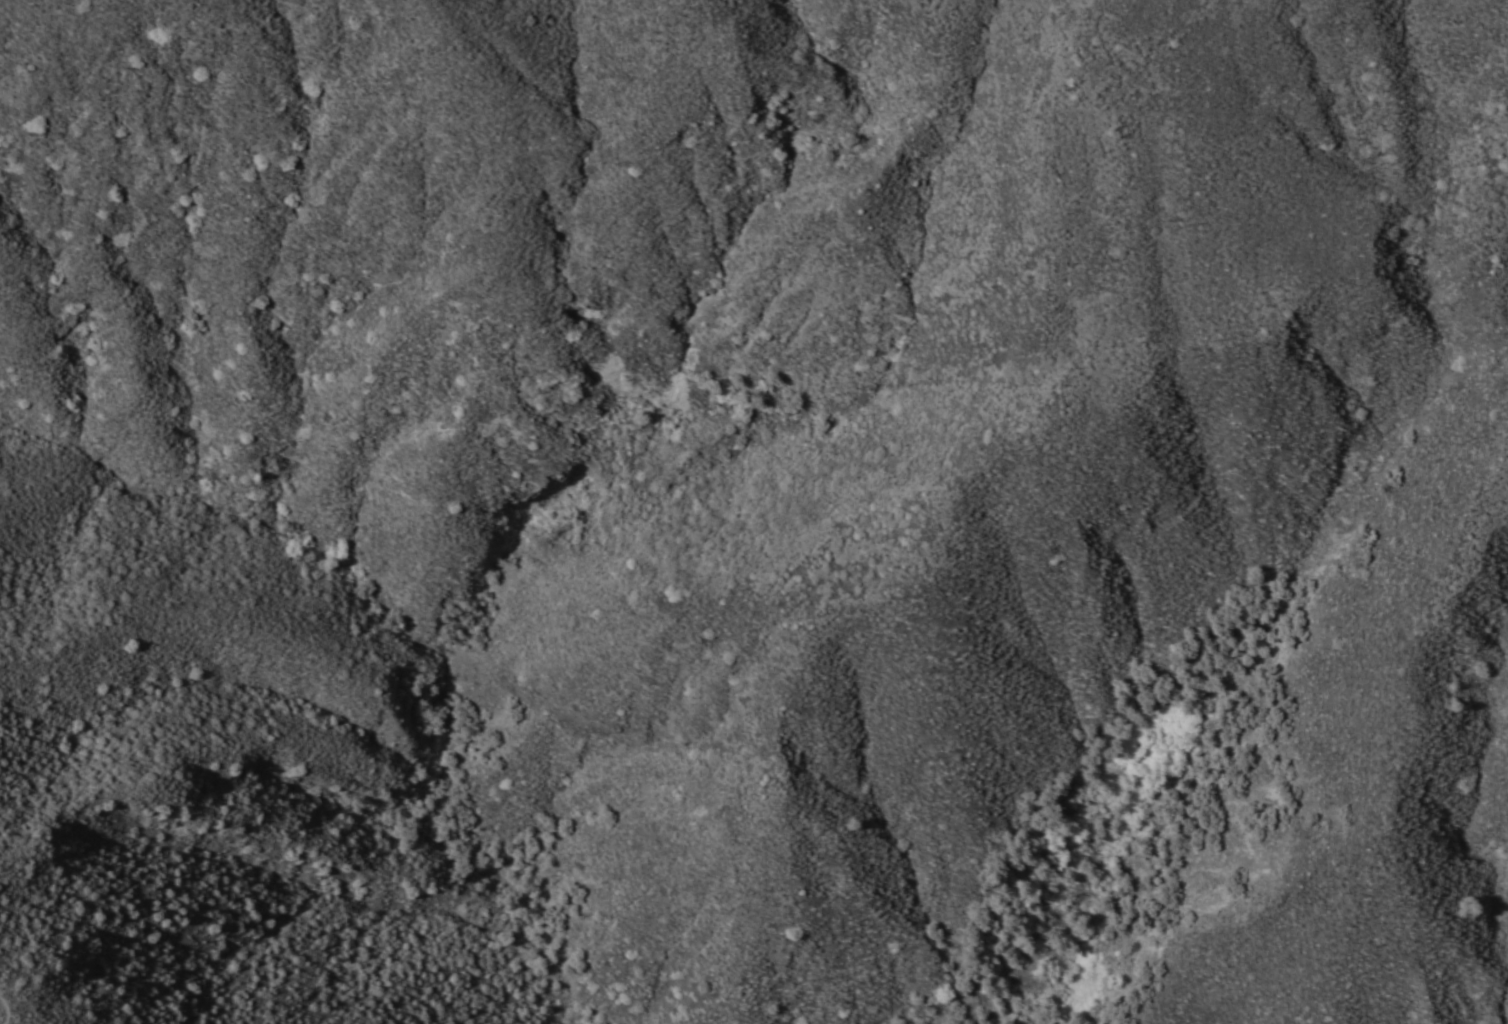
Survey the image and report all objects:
road: (5, 1012)

